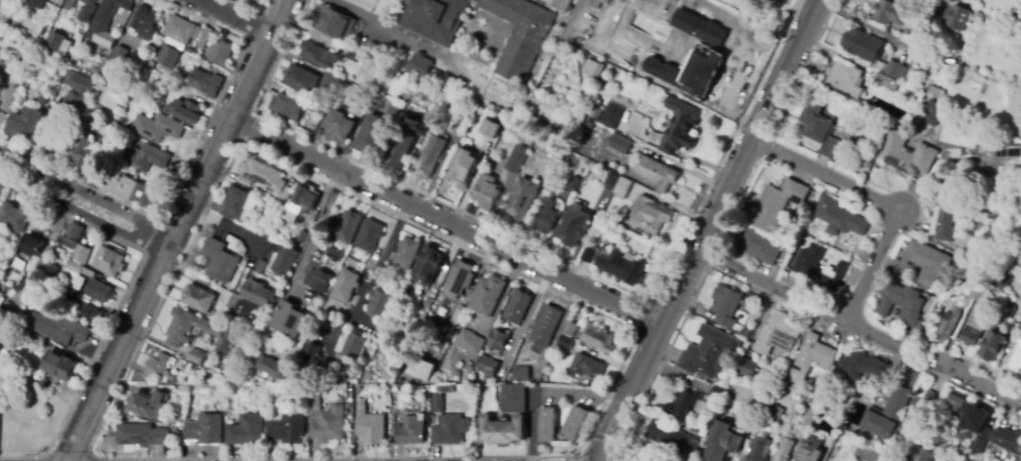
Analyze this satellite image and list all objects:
building: (1, 2)
building: (22, 2)
building: (595, 3)
building: (35, 4)
building: (562, 4)
building: (69, 5)
building: (90, 6)
building: (891, 12)
road: (232, 17)
building: (958, 17)
building: (436, 19)
building: (106, 21)
building: (144, 23)
building: (334, 23)
road: (865, 24)
building: (698, 27)
building: (41, 30)
building: (179, 30)
building: (519, 35)
parking lot: (392, 36)
road: (398, 37)
building: (205, 38)
building: (56, 41)
building: (863, 45)
building: (221, 53)
building: (119, 55)
building: (317, 55)
building: (356, 56)
building: (26, 57)
building: (66, 57)
building: (168, 58)
building: (420, 66)
building: (702, 68)
building: (593, 69)
building: (892, 70)
building: (436, 77)
building: (939, 79)
building: (301, 80)
building: (548, 80)
building: (846, 80)
building: (330, 81)
building: (887, 82)
building: (205, 83)
building: (17, 85)
building: (79, 85)
building: (341, 91)
building: (28, 92)
building: (532, 93)
building: (936, 93)
building: (109, 100)
building: (39, 102)
building: (287, 108)
building: (316, 108)
building: (184, 110)
building: (394, 111)
building: (595, 113)
building: (613, 113)
building: (934, 113)
building: (71, 114)
building: (429, 118)
building: (463, 121)
building: (530, 121)
building: (24, 124)
building: (157, 127)
building: (340, 127)
building: (679, 127)
building: (820, 129)
building: (489, 132)
building: (373, 136)
building: (407, 141)
building: (539, 141)
building: (620, 144)
building: (81, 150)
building: (1007, 152)
building: (907, 155)
building: (142, 157)
building: (431, 157)
building: (517, 159)
road: (740, 161)
building: (462, 167)
building: (263, 174)
building: (657, 174)
building: (244, 181)
building: (573, 183)
building: (618, 185)
road: (196, 186)
building: (129, 190)
building: (486, 191)
road: (86, 192)
building: (286, 194)
building: (522, 198)
road: (882, 200)
building: (303, 201)
building: (238, 203)
building: (778, 204)
building: (950, 210)
building: (651, 212)
road: (82, 214)
building: (15, 217)
building: (545, 217)
building: (839, 218)
road: (446, 220)
building: (273, 222)
building: (574, 226)
building: (349, 227)
building: (967, 227)
road: (318, 232)
building: (370, 235)
building: (301, 237)
building: (74, 242)
building: (31, 246)
building: (760, 246)
building: (969, 247)
building: (407, 253)
building: (589, 254)
building: (56, 255)
building: (336, 255)
building: (220, 260)
building: (253, 260)
building: (286, 260)
road: (384, 260)
building: (108, 262)
building: (961, 263)
building: (18, 264)
building: (922, 264)
building: (428, 265)
building: (74, 267)
building: (622, 267)
building: (266, 268)
building: (816, 268)
building: (37, 271)
building: (318, 279)
building: (440, 279)
building: (458, 280)
building: (1000, 282)
building: (1016, 284)
building: (27, 285)
building: (346, 285)
building: (277, 286)
building: (98, 291)
building: (68, 292)
building: (258, 294)
building: (487, 296)
building: (977, 296)
building: (198, 299)
road: (799, 299)
building: (996, 300)
building: (900, 301)
building: (380, 304)
building: (726, 306)
building: (519, 307)
building: (247, 313)
building: (88, 314)
building: (457, 316)
building: (289, 319)
road: (528, 321)
building: (548, 321)
building: (949, 324)
building: (919, 326)
building: (189, 327)
road: (563, 327)
building: (57, 328)
building: (570, 329)
building: (972, 332)
building: (913, 334)
building: (777, 335)
building: (229, 336)
building: (498, 339)
building: (597, 339)
building: (38, 340)
building: (223, 342)
building: (470, 343)
building: (564, 345)
road: (50, 346)
building: (354, 346)
building: (992, 346)
building: (707, 352)
building: (815, 354)
building: (197, 357)
building: (452, 359)
building: (313, 360)
building: (1016, 360)
road: (91, 365)
building: (458, 365)
building: (59, 366)
building: (488, 366)
building: (271, 367)
building: (587, 367)
building: (865, 367)
building: (417, 368)
building: (468, 369)
building: (749, 369)
building: (156, 370)
building: (521, 373)
building: (474, 376)
building: (793, 376)
building: (456, 377)
building: (20, 378)
road: (957, 384)
road: (975, 384)
building: (183, 387)
building: (447, 389)
building: (807, 390)
road: (545, 391)
road: (627, 391)
building: (513, 398)
building: (314, 399)
building: (261, 401)
building: (437, 403)
building: (957, 403)
building: (147, 405)
building: (683, 405)
building: (802, 405)
building: (249, 408)
building: (921, 410)
building: (774, 414)
building: (887, 414)
road: (86, 417)
building: (809, 419)
building: (575, 423)
building: (786, 425)
building: (329, 426)
building: (370, 428)
building: (976, 428)
building: (451, 429)
building: (205, 430)
building: (287, 430)
building: (503, 430)
building: (245, 431)
building: (410, 431)
building: (701, 432)
building: (143, 436)
building: (672, 436)
building: (1007, 439)
road: (611, 442)
building: (722, 442)
road: (580, 447)
building: (775, 447)
building: (759, 450)
building: (783, 450)
building: (812, 450)
road: (641, 453)
building: (924, 455)
building: (1020, 457)
road: (568, 459)

